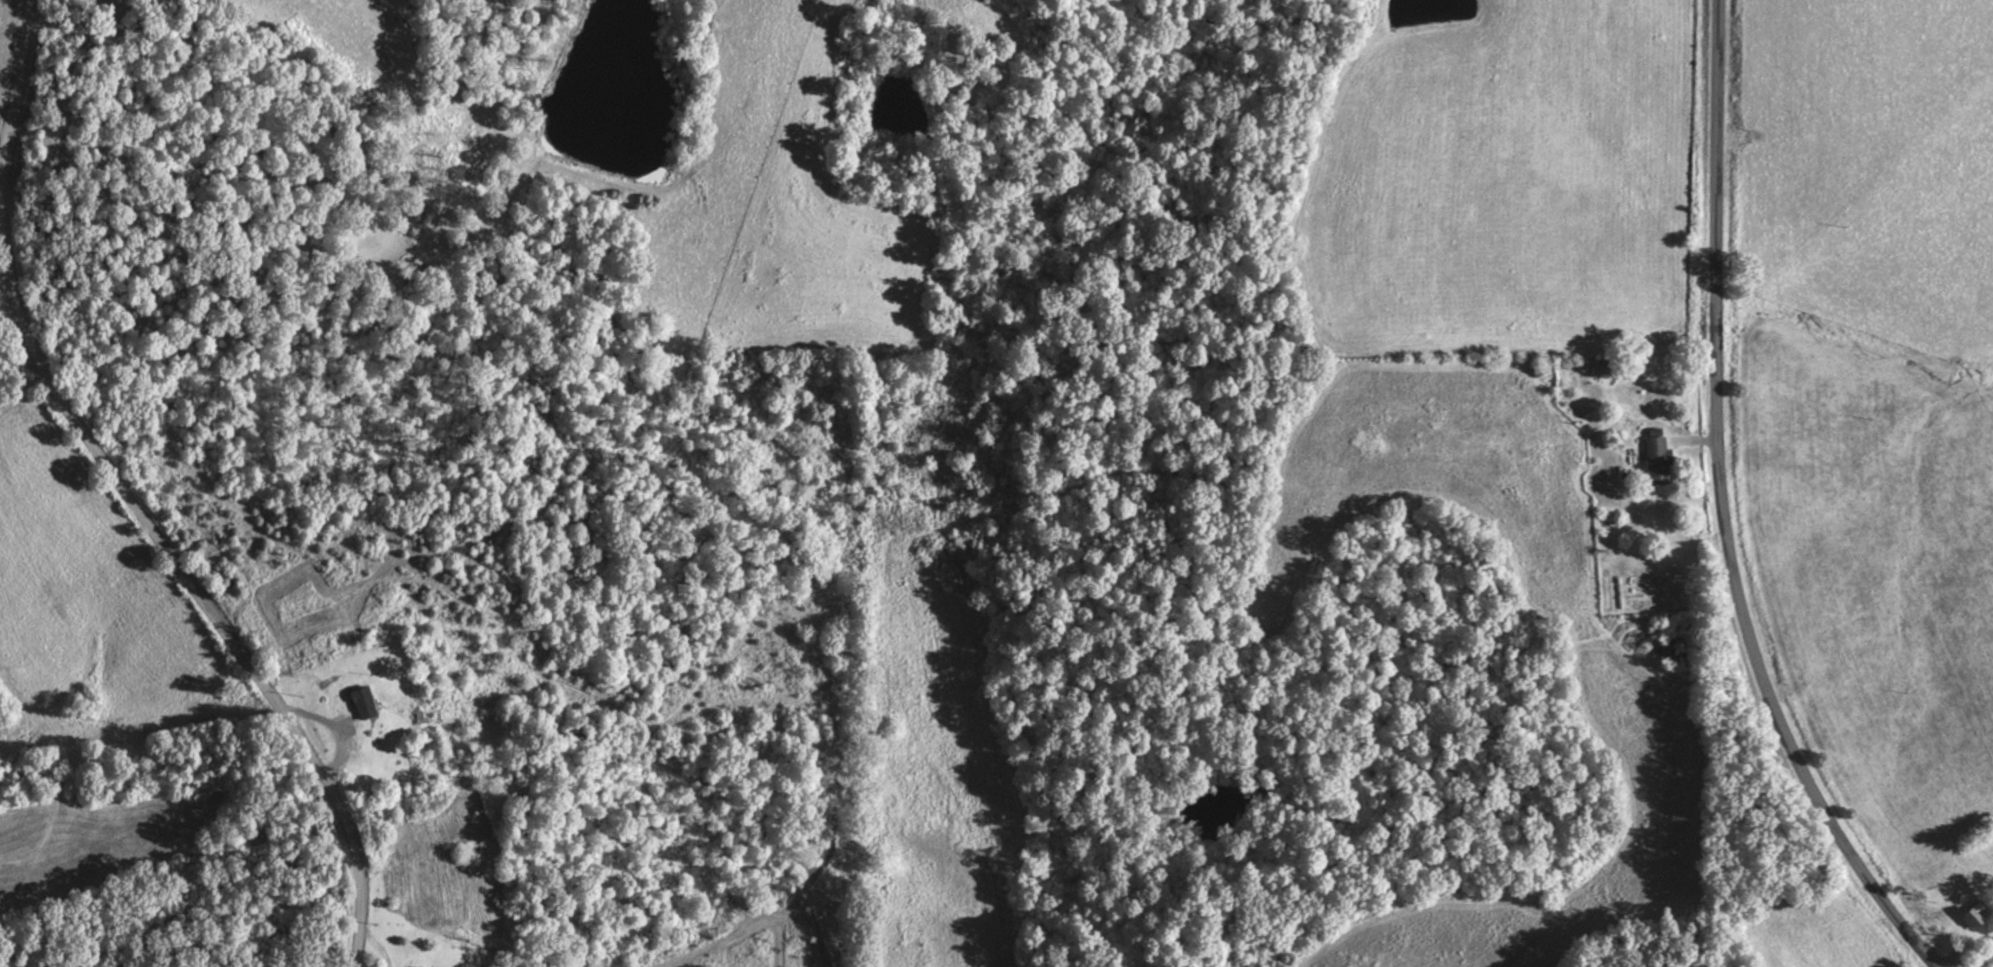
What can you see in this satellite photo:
building: (1604, 366)
building: (1661, 460)
road: (130, 498)
road: (1722, 511)
building: (366, 702)
building: (1973, 913)
building: (413, 966)

